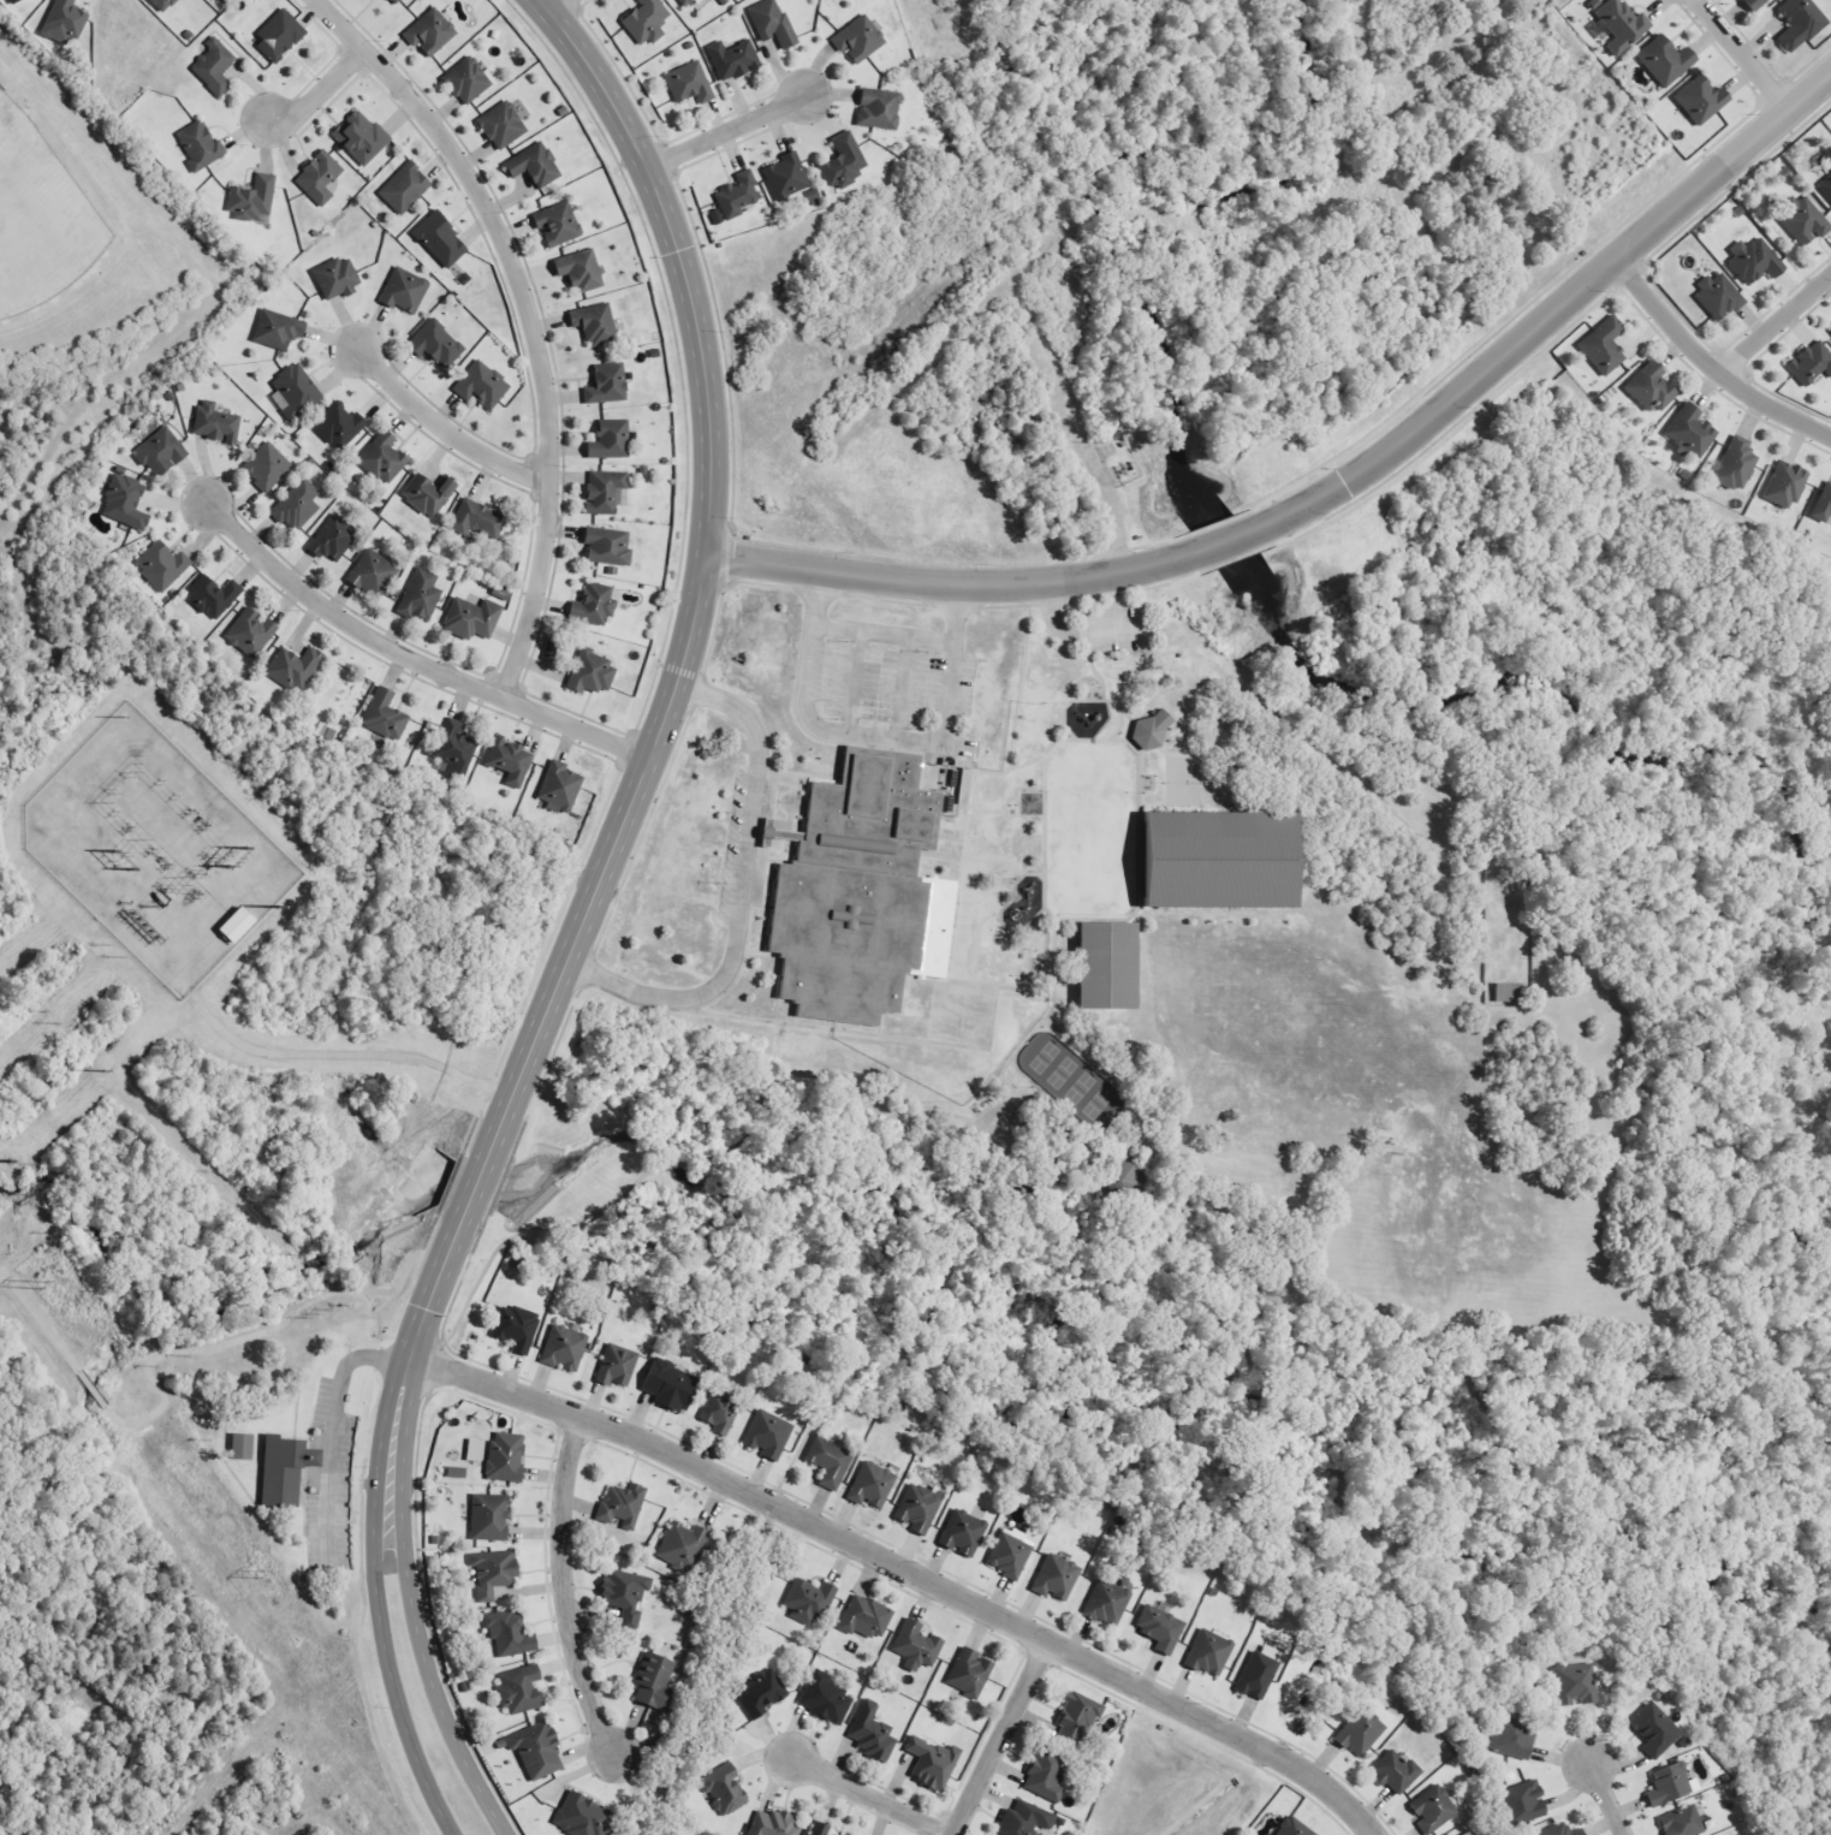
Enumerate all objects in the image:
building: (13, 1)
building: (393, 1)
building: (685, 1)
building: (1753, 4)
building: (162, 5)
road: (558, 7)
building: (646, 20)
building: (63, 22)
building: (771, 23)
building: (1799, 23)
building: (1621, 25)
building: (429, 32)
building: (278, 36)
building: (858, 40)
road: (1737, 53)
building: (732, 59)
building: (1665, 60)
building: (213, 67)
building: (466, 81)
building: (689, 83)
road: (316, 89)
building: (1700, 100)
building: (878, 108)
building: (501, 125)
road: (725, 129)
building: (359, 137)
building: (198, 146)
building: (843, 162)
building: (534, 165)
building: (786, 177)
building: (319, 178)
building: (1826, 186)
building: (404, 188)
building: (737, 196)
building: (252, 200)
park: (41, 215)
building: (1803, 219)
building: (557, 224)
building: (439, 240)
building: (1753, 260)
building: (579, 271)
building: (335, 278)
building: (404, 291)
building: (1717, 297)
road: (1557, 303)
road: (528, 315)
road: (1771, 321)
building: (594, 323)
building: (277, 329)
building: (435, 344)
building: (1604, 345)
building: (1811, 362)
road: (1705, 367)
building: (606, 384)
building: (481, 385)
building: (1649, 388)
building: (296, 390)
building: (215, 423)
building: (338, 426)
road: (442, 427)
building: (1689, 432)
building: (610, 440)
building: (160, 452)
building: (381, 458)
building: (1735, 464)
building: (267, 467)
building: (1785, 485)
building: (605, 492)
building: (427, 494)
building: (125, 503)
building: (1823, 504)
building: (297, 505)
building: (477, 518)
building: (332, 539)
road: (1231, 540)
building: (607, 546)
building: (162, 565)
building: (371, 574)
road: (949, 583)
building: (213, 595)
building: (420, 595)
building: (594, 605)
building: (471, 618)
road: (1048, 618)
parking lot: (1116, 630)
building: (249, 631)
road: (410, 658)
building: (293, 667)
building: (590, 672)
road: (1096, 678)
road: (674, 681)
road: (1110, 702)
building: (385, 714)
road: (1125, 717)
road: (1104, 723)
building: (1149, 730)
road: (1130, 731)
building: (454, 748)
road: (1149, 748)
road: (1160, 750)
building: (510, 761)
park: (1179, 780)
building: (559, 788)
power substation: (154, 849)
park: (1220, 859)
building: (1214, 861)
building: (854, 891)
road: (1128, 917)
building: (234, 924)
park: (1104, 963)
building: (1105, 966)
road: (1046, 970)
building: (1508, 992)
road: (1018, 1049)
park: (1177, 1068)
park: (1070, 1081)
road: (998, 1101)
road: (837, 1104)
road: (981, 1112)
road: (630, 1186)
road: (499, 1236)
power tower: (43, 1283)
road: (460, 1297)
building: (516, 1328)
road: (447, 1348)
building: (564, 1348)
building: (617, 1366)
building: (668, 1384)
building: (719, 1413)
building: (768, 1435)
building: (240, 1445)
road: (799, 1447)
building: (474, 1449)
building: (505, 1456)
building: (828, 1462)
building: (283, 1469)
building: (456, 1472)
building: (870, 1485)
building: (622, 1504)
building: (919, 1507)
building: (488, 1518)
building: (962, 1533)
building: (682, 1546)
building: (1010, 1552)
road: (937, 1569)
road: (903, 1570)
building: (491, 1572)
power tower: (261, 1575)
building: (1056, 1576)
road: (564, 1588)
building: (624, 1595)
road: (374, 1599)
building: (808, 1602)
building: (1106, 1603)
road: (409, 1605)
building: (866, 1617)
building: (1159, 1626)
building: (510, 1634)
building: (916, 1646)
building: (1208, 1653)
building: (1258, 1671)
building: (969, 1673)
building: (654, 1682)
building: (1575, 1683)
building: (518, 1688)
building: (761, 1692)
building: (824, 1698)
building: (1075, 1718)
building: (1654, 1729)
building: (1360, 1732)
building: (872, 1733)
building: (1511, 1736)
road: (994, 1738)
building: (534, 1748)
building: (932, 1763)
building: (1395, 1771)
building: (1045, 1780)
building: (1670, 1783)
building: (724, 1789)
road: (868, 1798)
road: (1606, 1798)
building: (1523, 1803)
building: (1432, 1810)
building: (581, 1817)
building: (1024, 1819)
building: (1681, 1822)
building: (774, 1824)
building: (1292, 1828)
building: (820, 1829)
building: (1559, 1830)
building: (1468, 1833)

